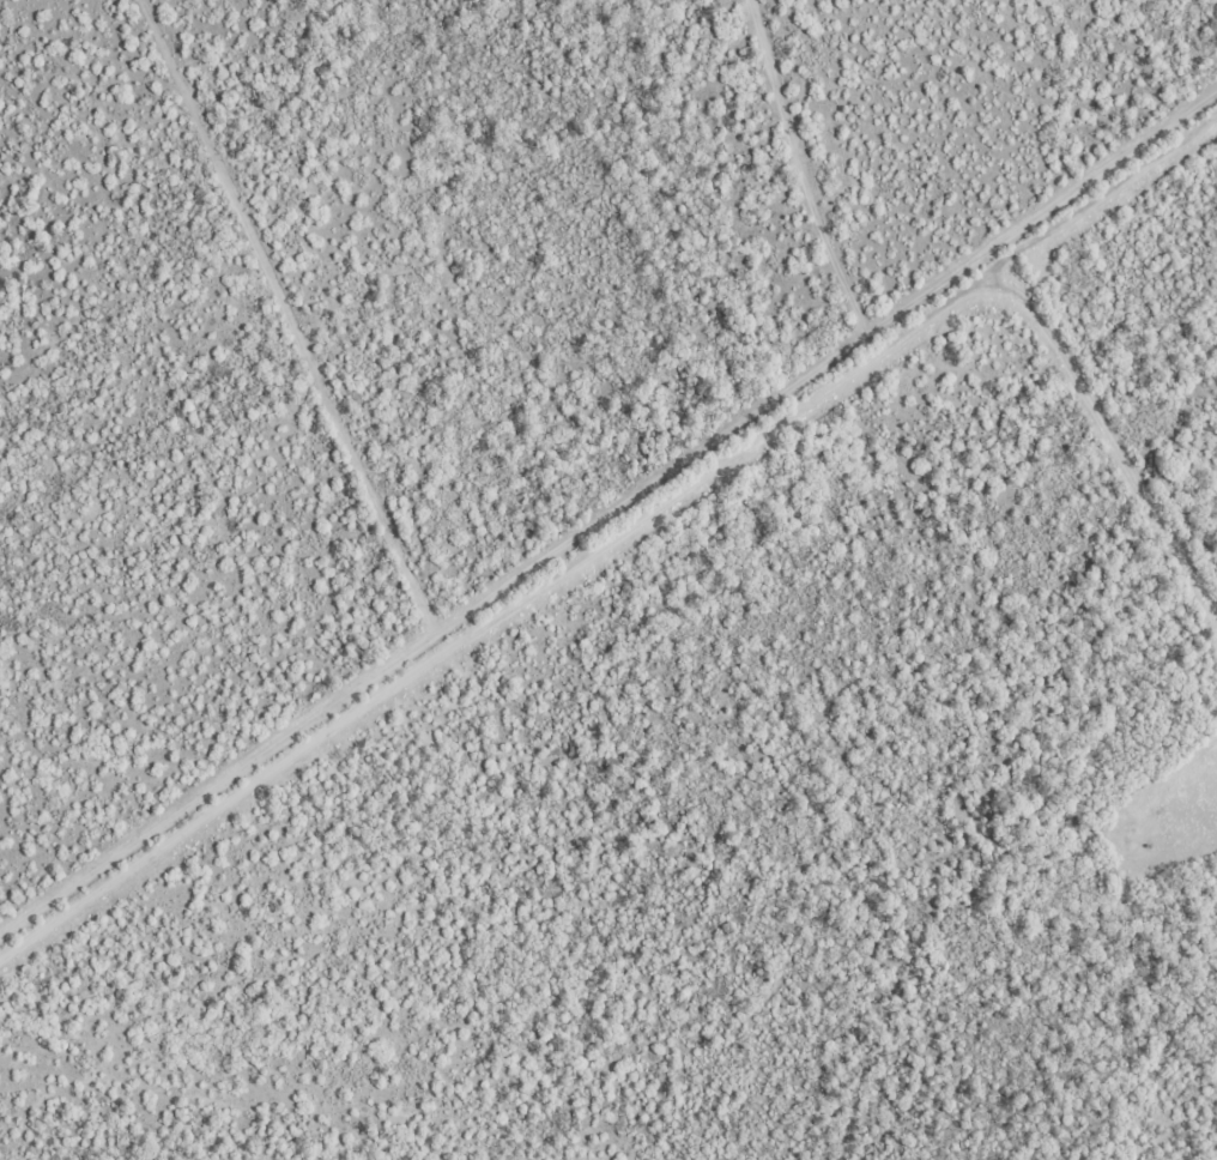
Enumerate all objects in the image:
road: (849, 433)
road: (449, 614)

